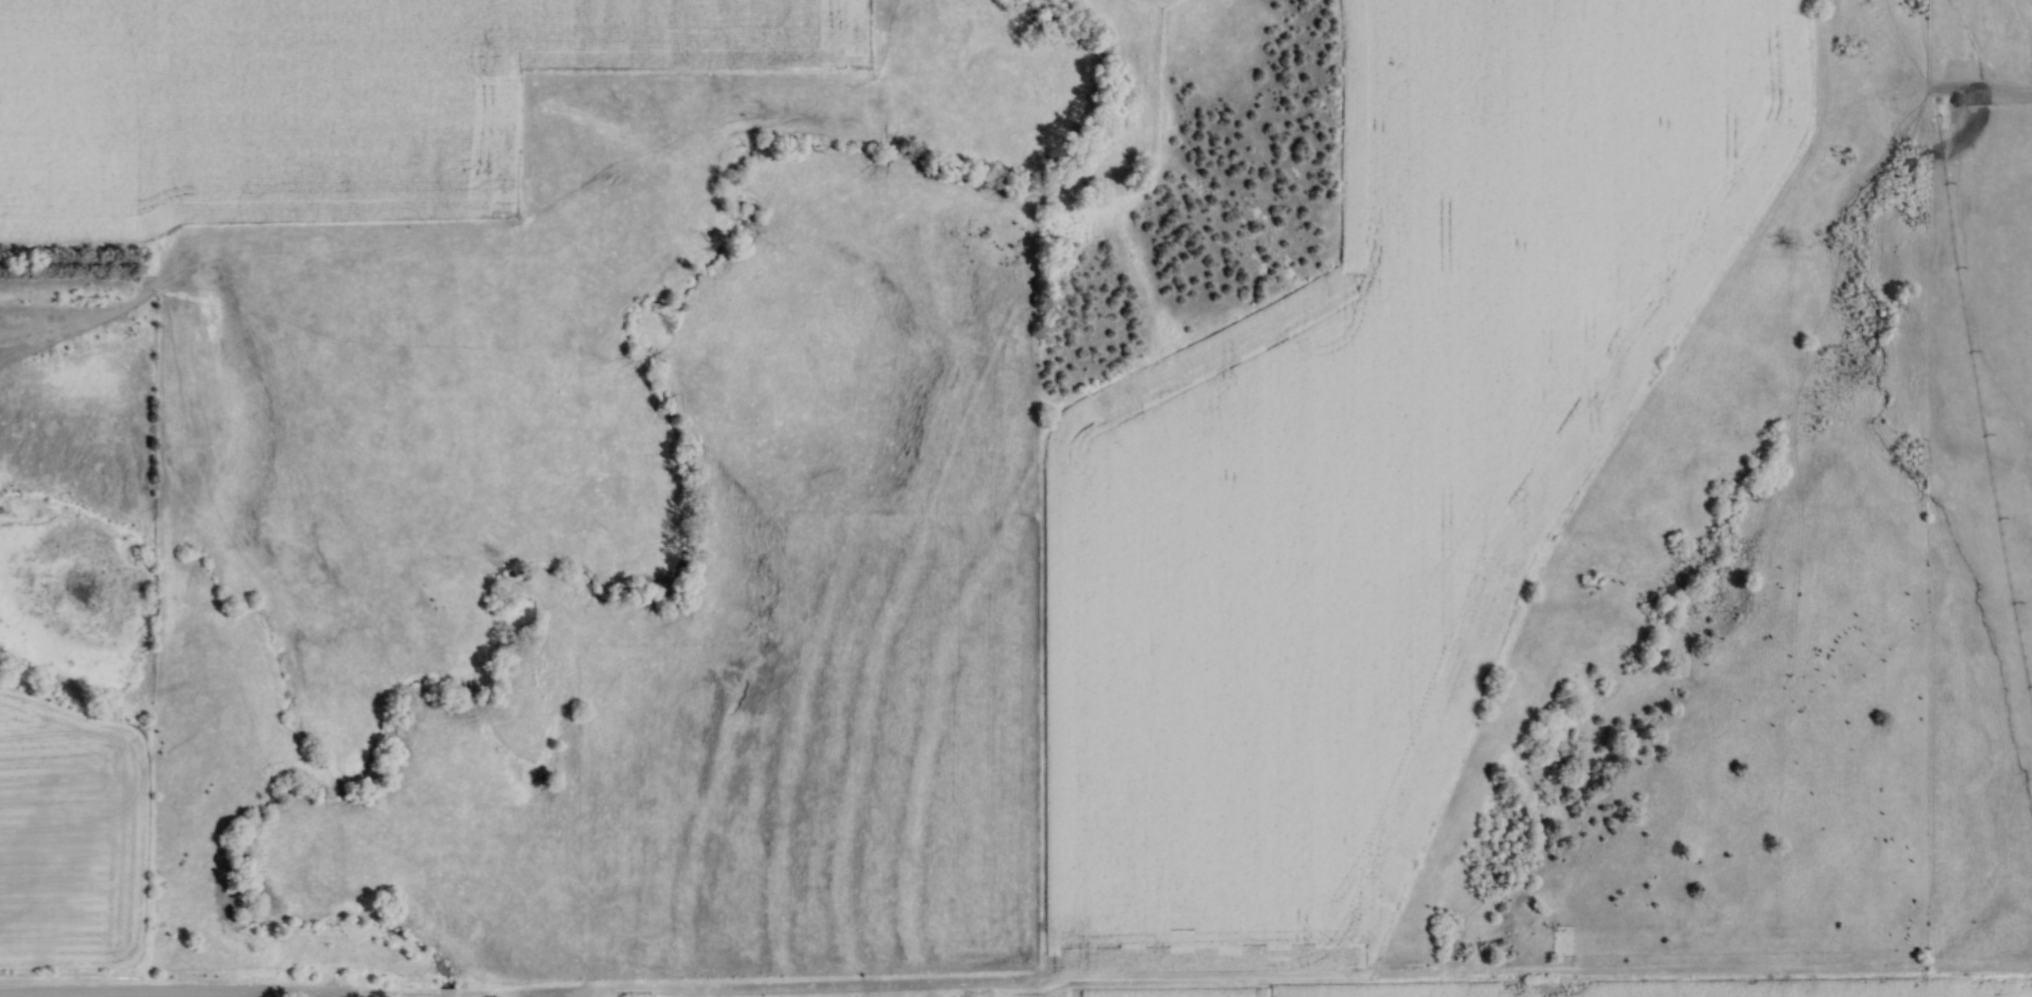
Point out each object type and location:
road: (696, 984)
road: (247, 996)

